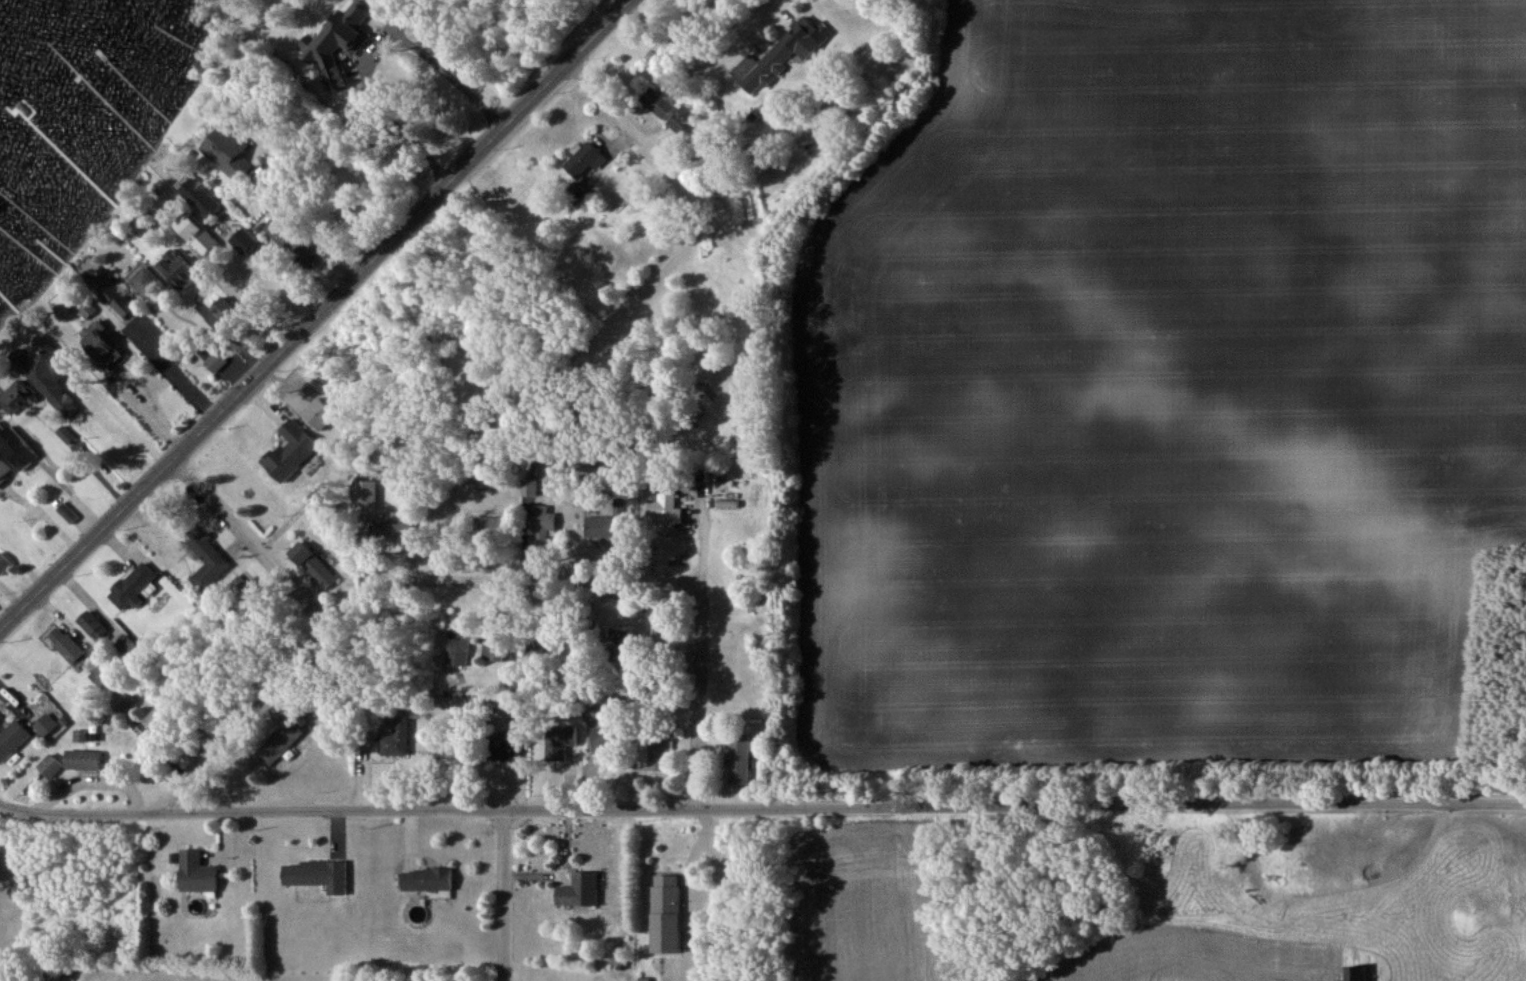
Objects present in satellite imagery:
road: (382, 48)
building: (781, 54)
road: (701, 64)
building: (667, 110)
building: (232, 152)
building: (588, 158)
road: (679, 184)
road: (327, 193)
building: (203, 196)
building: (282, 229)
building: (200, 236)
building: (317, 252)
building: (180, 268)
building: (148, 281)
building: (115, 298)
building: (78, 306)
road: (313, 316)
building: (100, 341)
building: (216, 361)
building: (47, 368)
road: (177, 372)
building: (18, 397)
road: (121, 419)
building: (738, 434)
building: (293, 450)
building: (20, 451)
building: (5, 469)
building: (482, 483)
building: (530, 487)
building: (666, 506)
building: (544, 520)
building: (601, 525)
building: (496, 527)
road: (252, 541)
building: (207, 559)
building: (4, 562)
building: (313, 563)
road: (622, 582)
building: (134, 586)
building: (94, 625)
building: (70, 648)
building: (620, 650)
building: (460, 651)
building: (495, 651)
building: (102, 673)
building: (119, 698)
building: (594, 712)
building: (162, 715)
road: (244, 715)
building: (517, 715)
building: (46, 725)
building: (13, 739)
building: (399, 739)
building: (511, 740)
building: (608, 740)
building: (562, 741)
building: (278, 742)
building: (659, 755)
building: (740, 758)
building: (84, 759)
building: (51, 766)
road: (762, 809)
building: (199, 873)
building: (318, 875)
building: (429, 879)
building: (581, 890)
road: (503, 896)
building: (668, 914)
building: (1358, 973)

